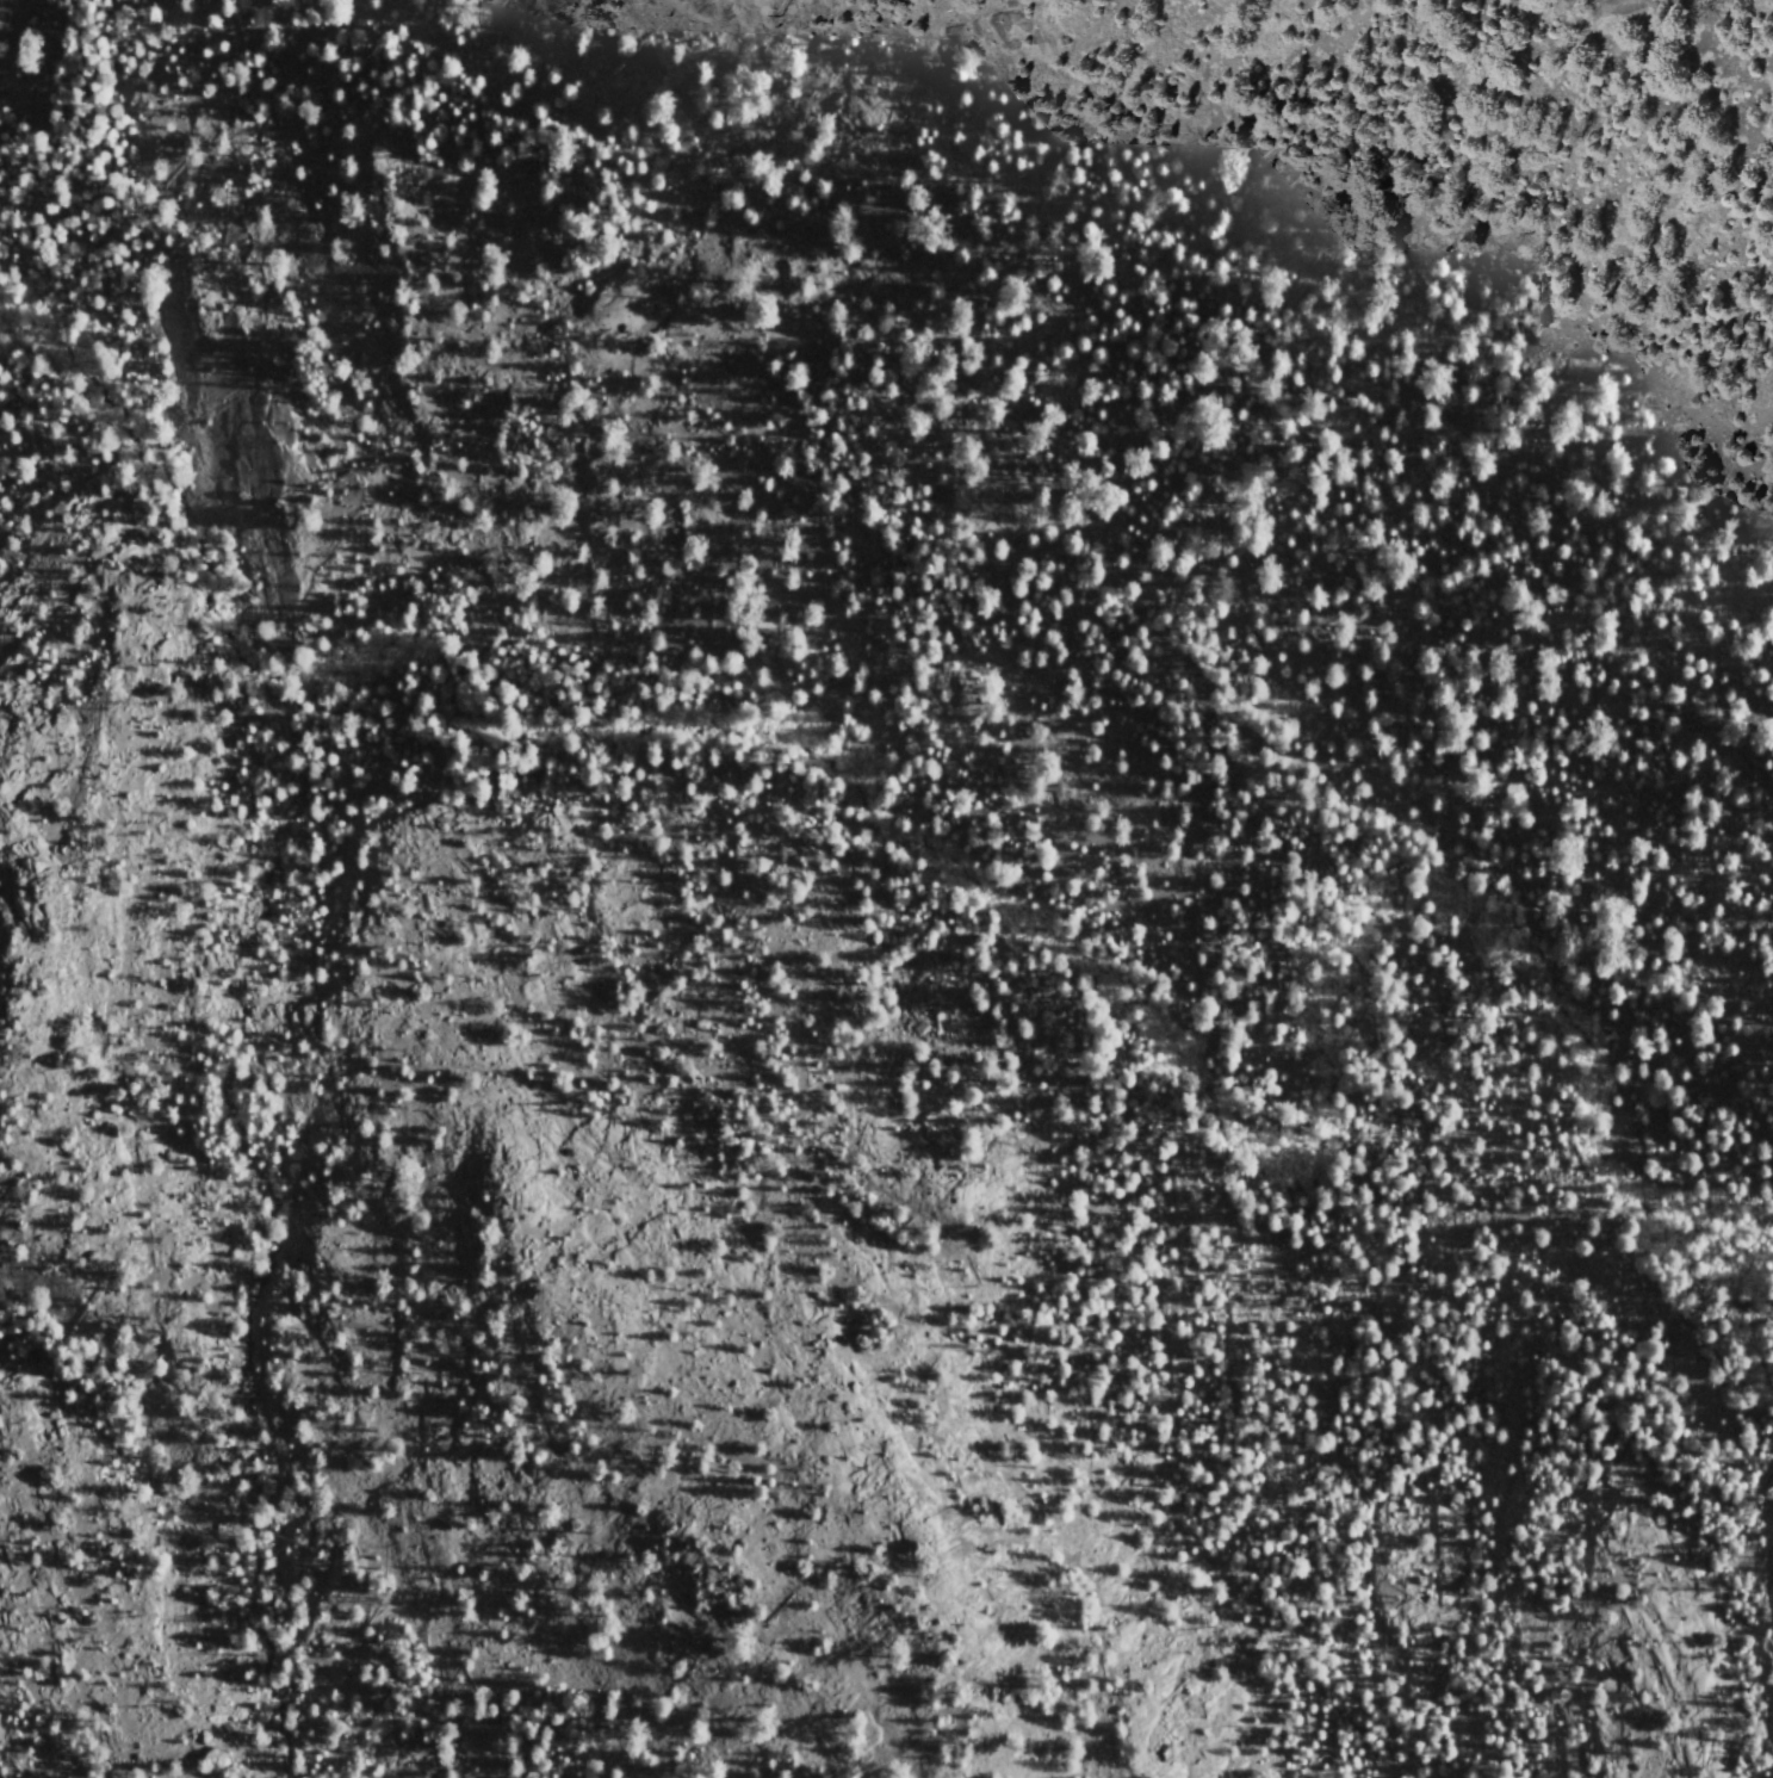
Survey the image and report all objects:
road: (1721, 1336)
road: (1525, 1563)

